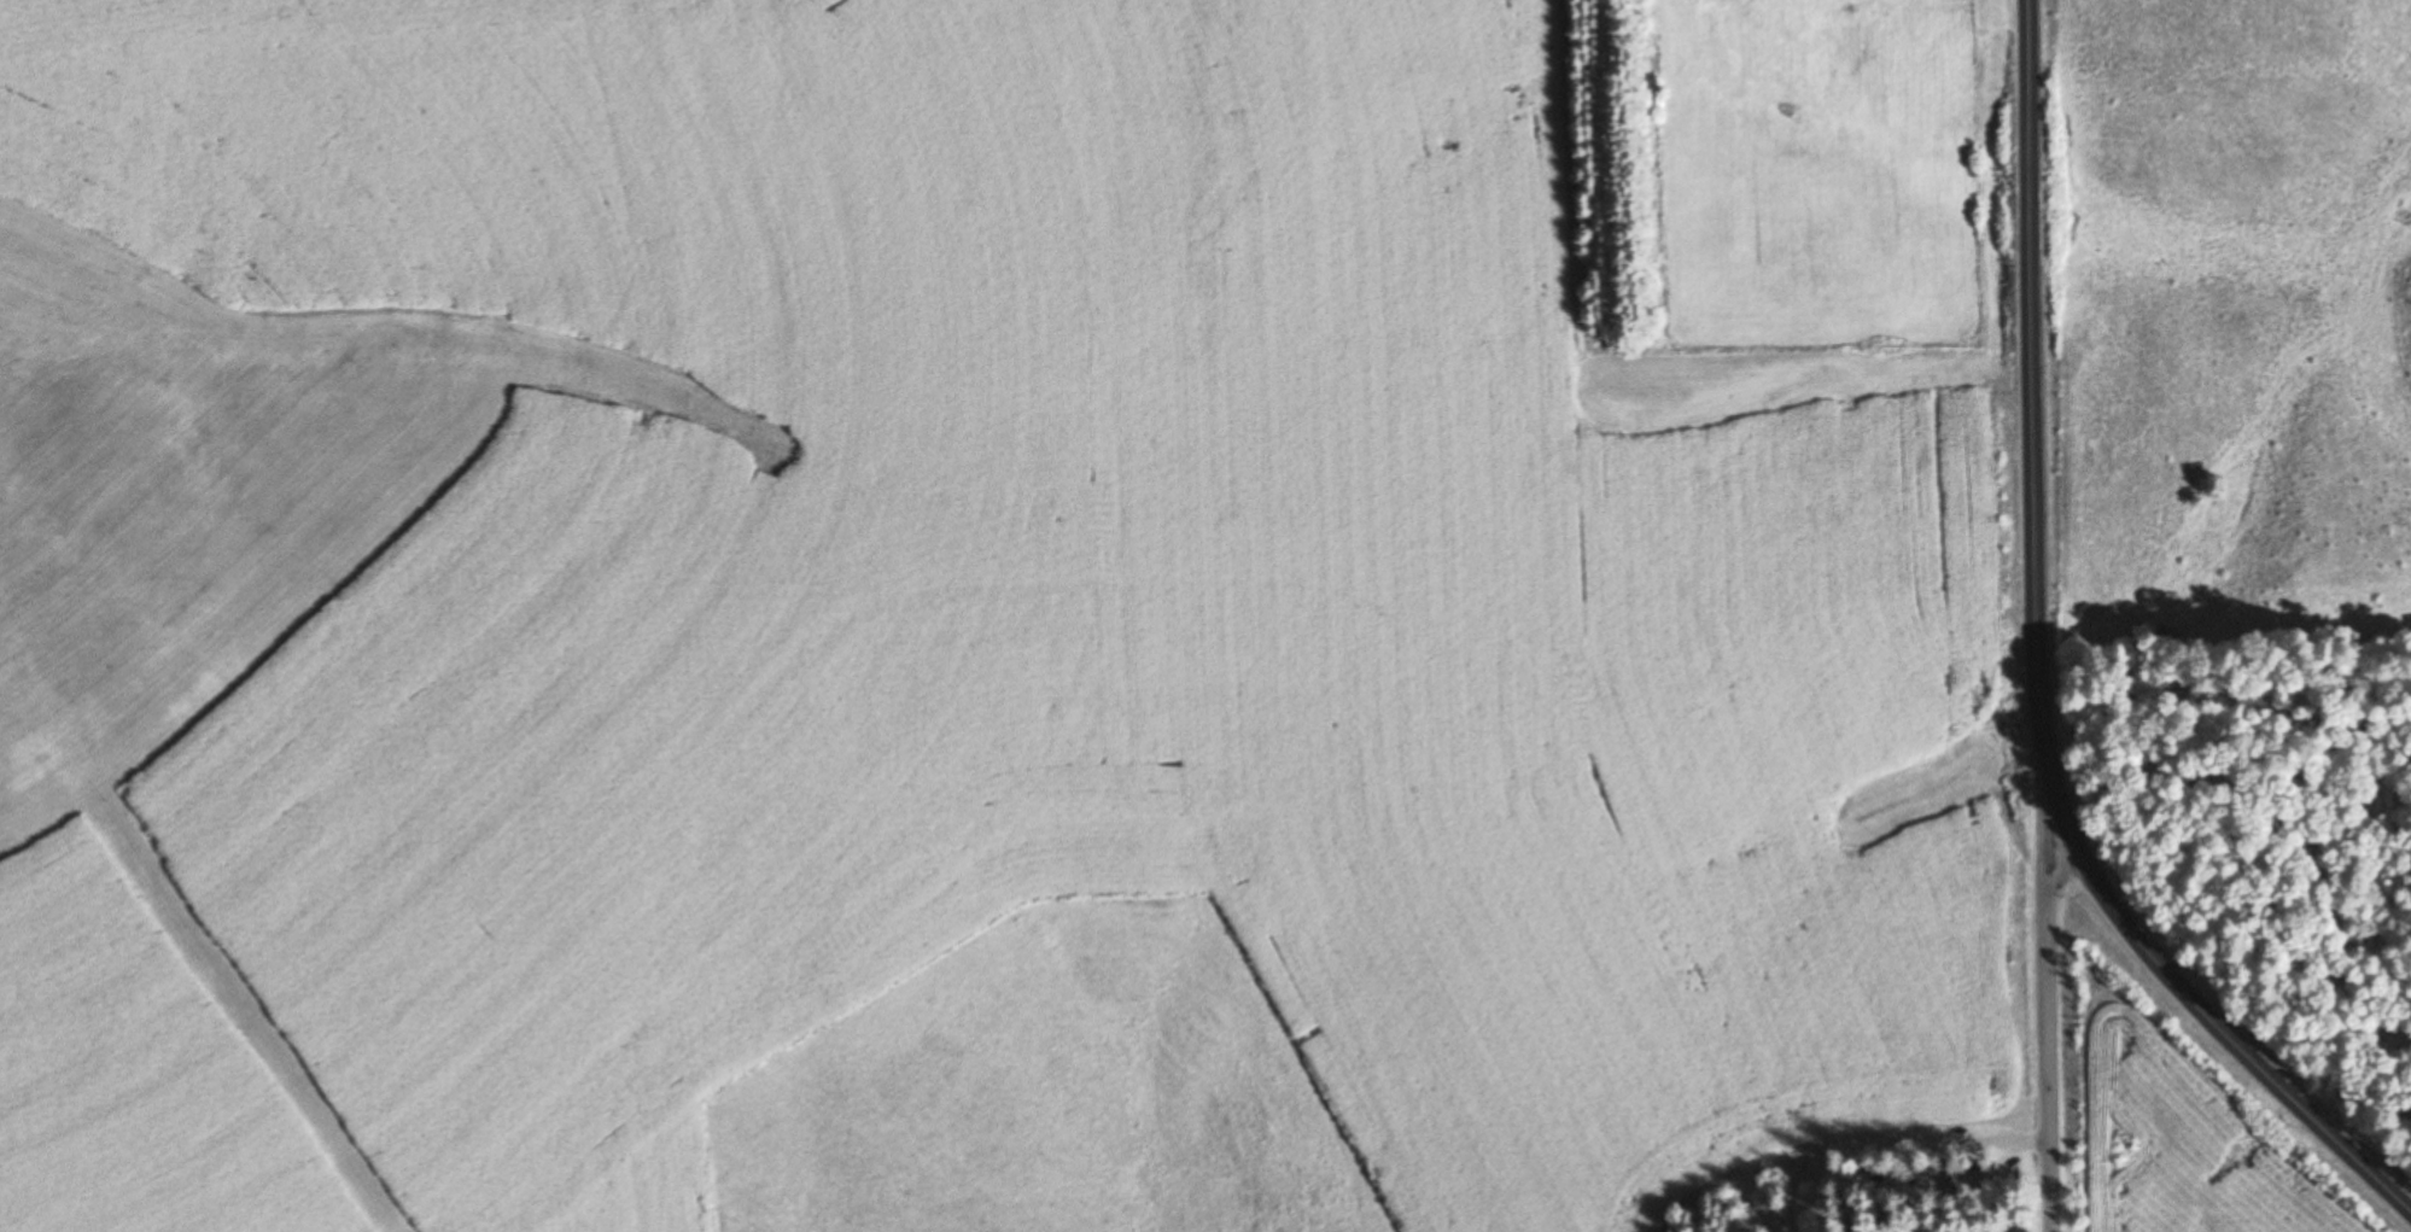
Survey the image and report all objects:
road: (2038, 678)
road: (2045, 1012)
crop: (2181, 1144)

